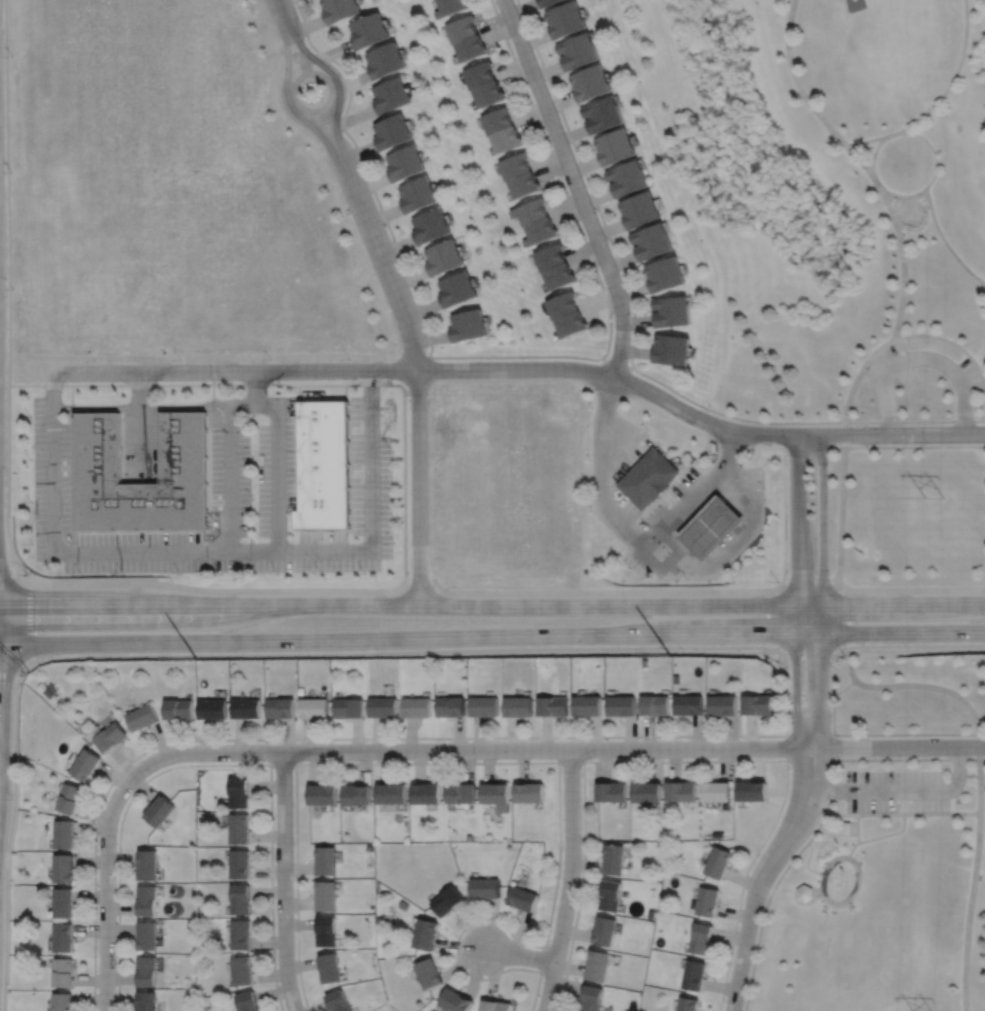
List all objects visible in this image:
building: (436, 0)
building: (552, 3)
building: (451, 8)
building: (341, 10)
road: (282, 16)
building: (568, 22)
building: (462, 31)
building: (371, 33)
street lamp: (306, 42)
road: (299, 49)
building: (471, 50)
building: (579, 51)
road: (289, 54)
building: (387, 63)
building: (481, 77)
building: (590, 80)
road: (797, 82)
building: (488, 94)
building: (393, 97)
road: (939, 97)
road: (330, 111)
building: (602, 112)
street lamp: (558, 113)
building: (495, 117)
building: (391, 129)
road: (333, 132)
street lamp: (344, 132)
road: (323, 135)
building: (504, 137)
building: (614, 144)
road: (930, 146)
building: (403, 161)
building: (513, 163)
building: (627, 175)
road: (877, 181)
building: (522, 182)
road: (576, 185)
road: (7, 192)
building: (416, 193)
road: (908, 196)
building: (639, 207)
building: (529, 209)
building: (910, 210)
road: (916, 219)
building: (429, 224)
street lamp: (386, 226)
building: (538, 230)
road: (899, 236)
street lamp: (606, 237)
building: (651, 240)
road: (945, 240)
park: (844, 248)
building: (442, 255)
building: (548, 255)
building: (665, 272)
building: (557, 274)
building: (455, 287)
street lamp: (13, 288)
building: (561, 303)
building: (672, 310)
building: (569, 322)
building: (466, 323)
road: (949, 340)
road: (632, 348)
building: (671, 348)
street lamp: (428, 351)
road: (507, 355)
street lamp: (349, 356)
road: (922, 357)
street lamp: (522, 358)
street lamp: (95, 359)
street lamp: (270, 359)
street lamp: (180, 360)
street lamp: (628, 360)
road: (616, 364)
parking lot: (891, 366)
road: (235, 371)
road: (416, 372)
road: (857, 378)
road: (302, 383)
road: (143, 389)
road: (345, 391)
road: (213, 394)
road: (72, 396)
road: (257, 400)
road: (142, 407)
street lamp: (591, 407)
street lamp: (706, 409)
street lamp: (253, 414)
street lamp: (381, 414)
street lamp: (29, 416)
road: (696, 416)
road: (979, 420)
road: (621, 421)
road: (601, 422)
street lamp: (648, 428)
road: (740, 442)
road: (143, 443)
street lamp: (926, 443)
road: (731, 446)
road: (884, 446)
building: (184, 448)
street lamp: (394, 450)
road: (620, 451)
street lamp: (830, 452)
street lamp: (253, 457)
street lamp: (29, 458)
street lamp: (588, 459)
street lamp: (788, 464)
building: (324, 466)
building: (648, 478)
gas station: (648, 478)
road: (676, 479)
road: (8, 481)
street lamp: (764, 488)
road: (277, 491)
street lamp: (394, 496)
street lamp: (253, 498)
power tower: (933, 498)
street lamp: (30, 501)
parking lot: (613, 503)
road: (683, 503)
parking lot: (222, 504)
road: (371, 507)
road: (610, 512)
street lamp: (592, 513)
street lamp: (644, 526)
road: (841, 526)
building: (711, 527)
gas station: (711, 527)
street lamp: (253, 540)
street lamp: (395, 541)
street lamp: (31, 543)
road: (735, 546)
road: (127, 553)
street lamp: (626, 568)
building: (585, 570)
street lamp: (364, 571)
street lamp: (321, 572)
street lamp: (221, 573)
street lamp: (278, 573)
street lamp: (788, 573)
road: (15, 574)
street lamp: (123, 574)
street lamp: (179, 574)
street lamp: (831, 574)
street lamp: (27, 575)
street lamp: (81, 575)
street lamp: (28, 577)
street lamp: (686, 579)
street lamp: (173, 580)
street lamp: (777, 580)
road: (167, 585)
street lamp: (455, 585)
road: (913, 589)
road: (568, 591)
road: (821, 591)
road: (797, 592)
road: (492, 604)
road: (775, 617)
road: (492, 633)
road: (879, 645)
street lamp: (831, 664)
street lamp: (788, 665)
road: (902, 684)
building: (51, 689)
building: (758, 703)
building: (588, 704)
building: (655, 704)
building: (689, 704)
building: (723, 704)
building: (621, 705)
building: (451, 706)
building: (485, 706)
building: (518, 706)
building: (553, 706)
building: (246, 707)
building: (280, 707)
building: (314, 707)
building: (349, 707)
building: (383, 707)
building: (416, 707)
building: (178, 708)
building: (213, 708)
road: (833, 708)
building: (142, 717)
road: (908, 733)
road: (743, 735)
building: (110, 737)
street lamp: (707, 738)
street lamp: (366, 741)
road: (786, 747)
road: (556, 748)
street lamp: (143, 755)
street lamp: (899, 756)
street lamp: (590, 758)
road: (982, 758)
street lamp: (478, 759)
road: (907, 759)
road: (570, 760)
street lamp: (262, 761)
road: (527, 761)
road: (689, 761)
building: (84, 764)
road: (282, 764)
road: (211, 765)
street lamp: (789, 765)
street lamp: (832, 768)
road: (831, 781)
building: (680, 789)
building: (752, 789)
building: (611, 790)
building: (646, 790)
building: (716, 790)
parking lot: (896, 791)
road: (903, 791)
building: (461, 792)
building: (495, 792)
building: (529, 792)
road: (16, 793)
building: (239, 793)
building: (323, 793)
building: (357, 793)
building: (392, 793)
building: (426, 793)
building: (68, 798)
building: (161, 810)
road: (901, 813)
building: (240, 828)
building: (846, 828)
road: (857, 828)
building: (718, 833)
building: (62, 834)
road: (878, 836)
building: (470, 837)
street lamp: (581, 840)
street lamp: (116, 843)
street lamp: (293, 843)
park: (887, 844)
building: (370, 847)
street lamp: (759, 854)
building: (613, 857)
building: (326, 860)
building: (718, 860)
building: (240, 863)
building: (149, 864)
road: (855, 864)
building: (62, 868)
road: (762, 874)
road: (973, 878)
road: (568, 880)
road: (283, 882)
building: (486, 887)
road: (106, 889)
road: (819, 890)
building: (804, 892)
building: (610, 894)
building: (326, 895)
building: (240, 898)
building: (522, 898)
building: (148, 900)
building: (449, 900)
building: (707, 900)
building: (62, 902)
road: (807, 903)
building: (403, 904)
road: (766, 905)
building: (651, 912)
building: (603, 930)
building: (326, 931)
building: (427, 933)
building: (148, 935)
building: (240, 935)
building: (62, 937)
building: (701, 937)
street lamp: (568, 942)
street lamp: (274, 951)
park: (854, 951)
road: (519, 955)
street lamp: (96, 956)
road: (542, 959)
street lamp: (730, 963)
building: (596, 964)
building: (329, 967)
building: (147, 971)
building: (242, 971)
building: (62, 972)
building: (432, 973)
building: (694, 974)
street lamp: (484, 976)
building: (590, 998)
building: (458, 1000)
building: (61, 1001)
building: (147, 1001)
building: (247, 1001)
building: (338, 1001)
building: (687, 1003)
building: (497, 1005)

